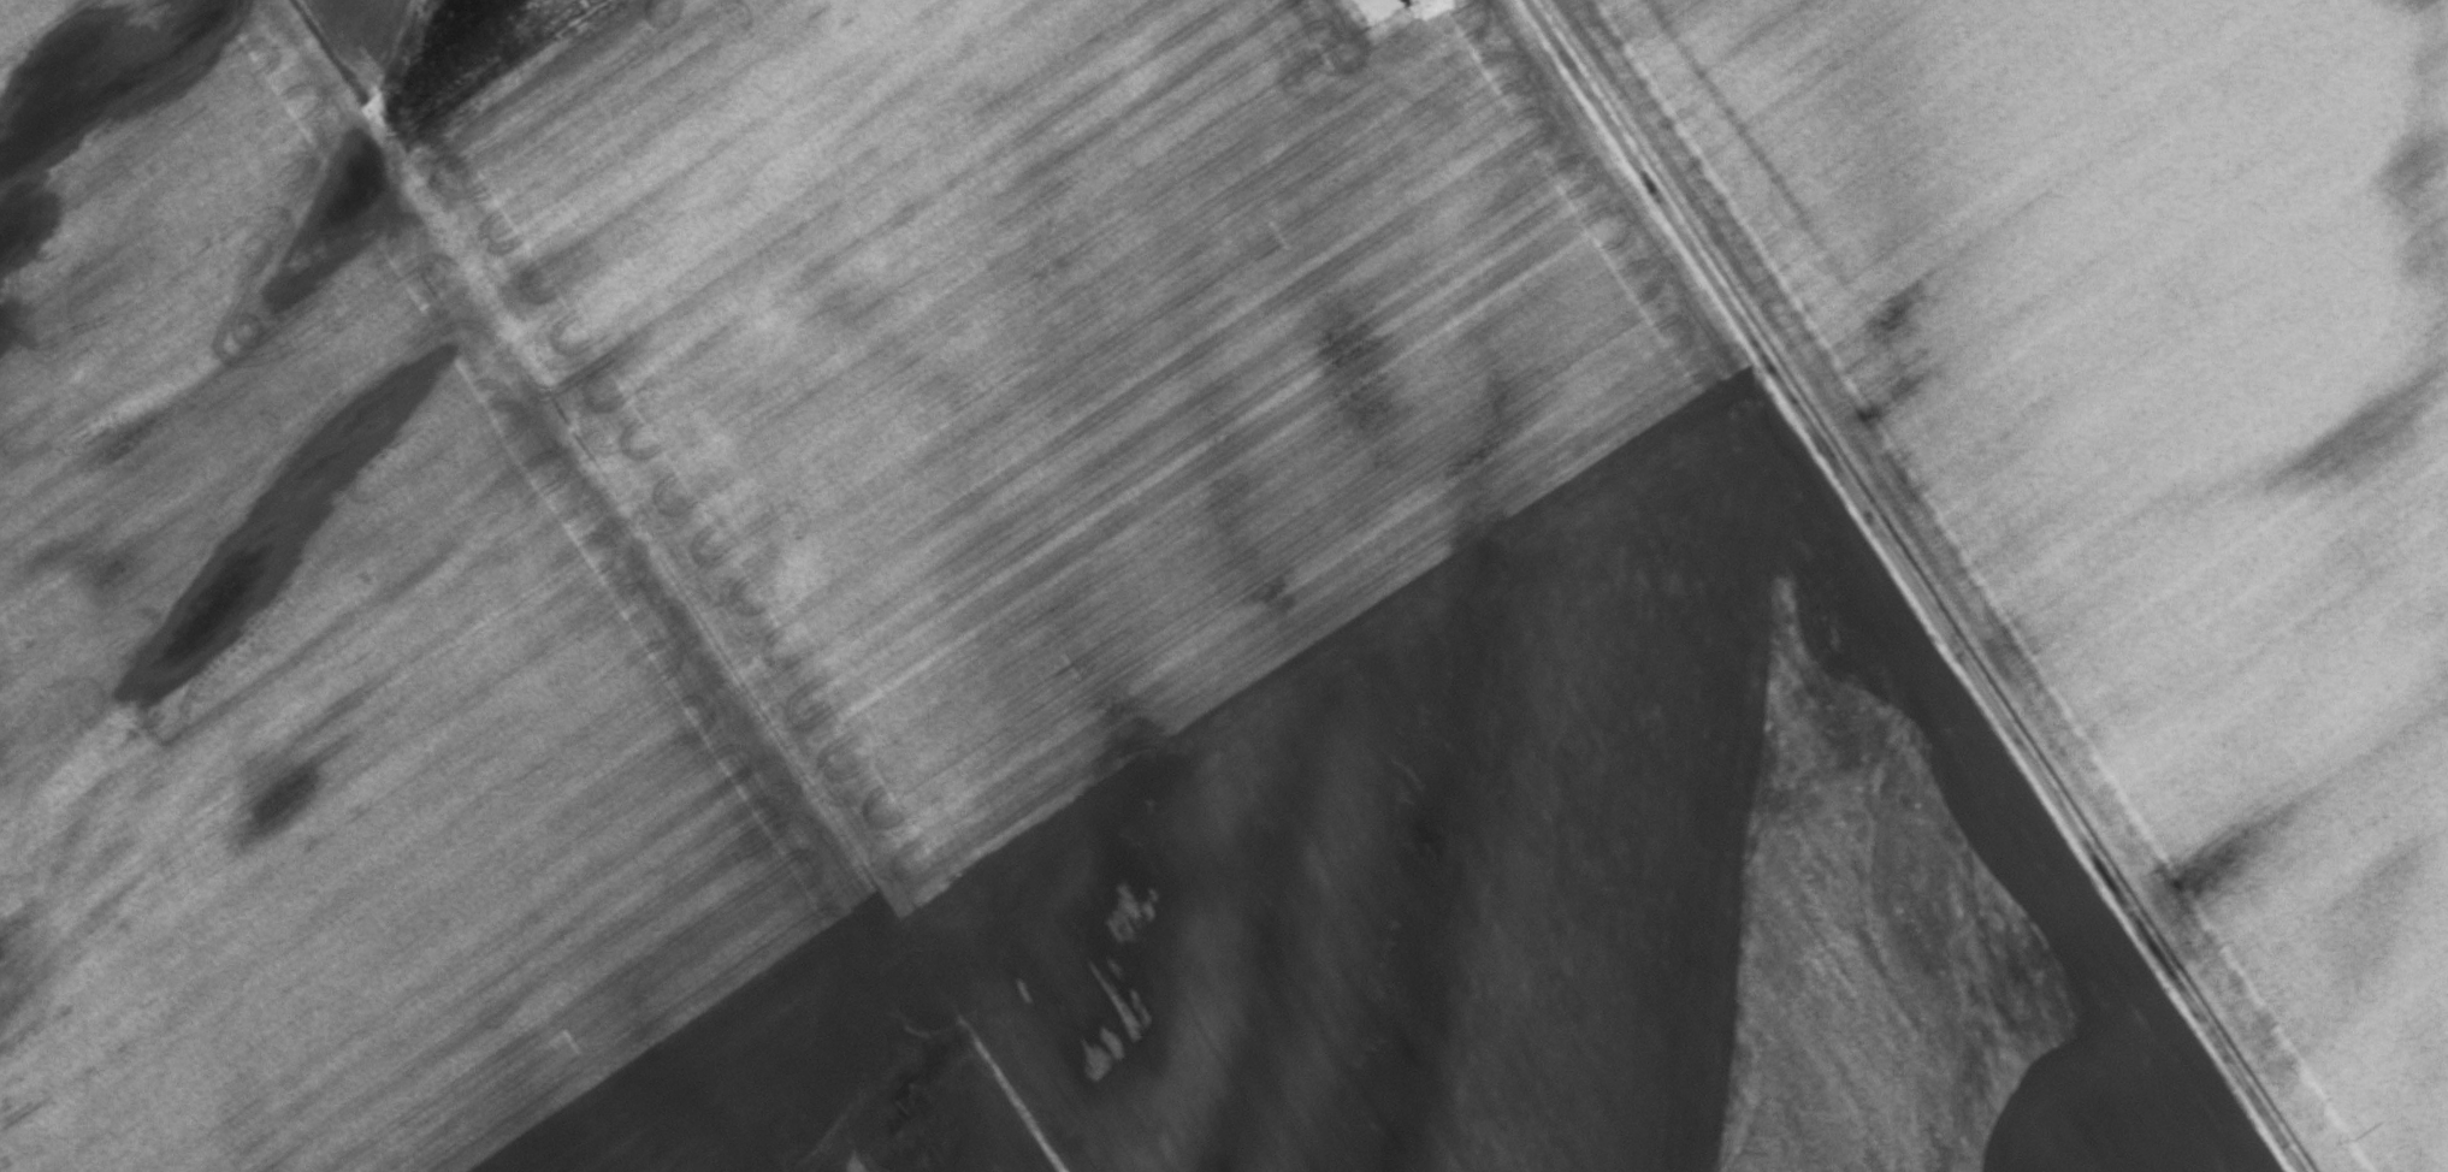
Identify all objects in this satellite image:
crop: (2136, 439)
road: (1916, 586)
crop: (962, 626)

